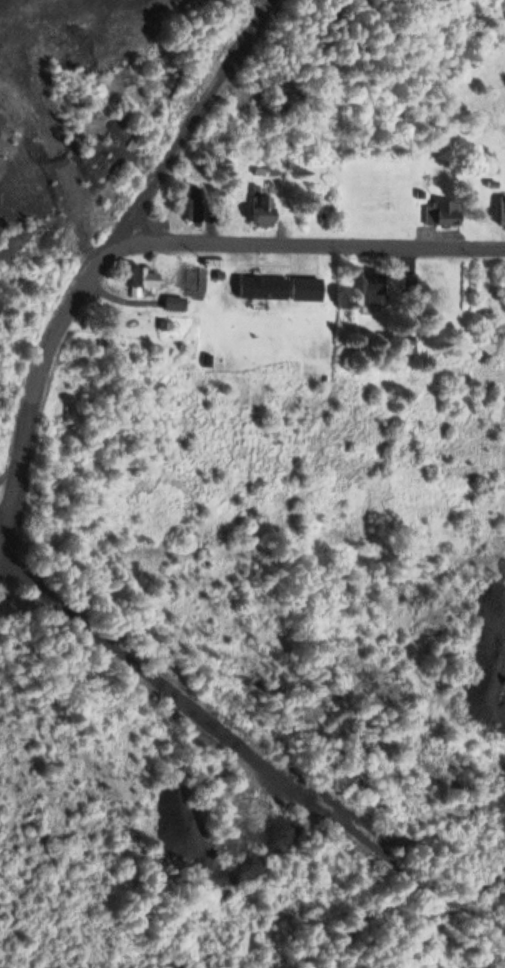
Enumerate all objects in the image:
building: (195, 203)
building: (262, 209)
building: (441, 211)
building: (503, 213)
road: (312, 240)
road: (104, 257)
building: (146, 276)
building: (374, 285)
building: (261, 286)
building: (305, 287)
building: (174, 302)

